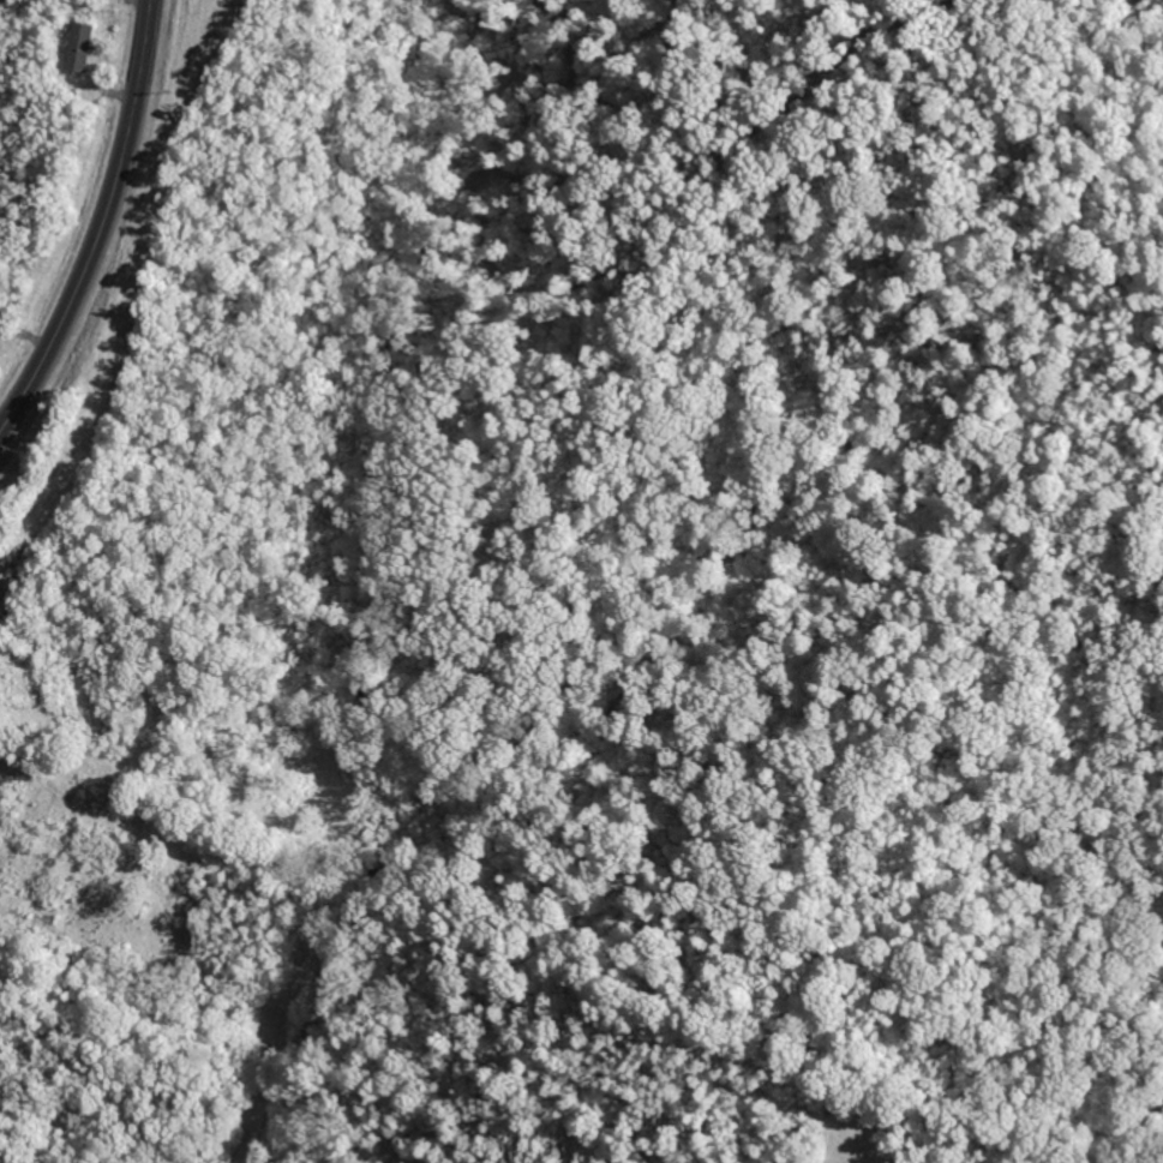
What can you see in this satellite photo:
building: (76, 47)
road: (102, 223)
building: (0, 564)

